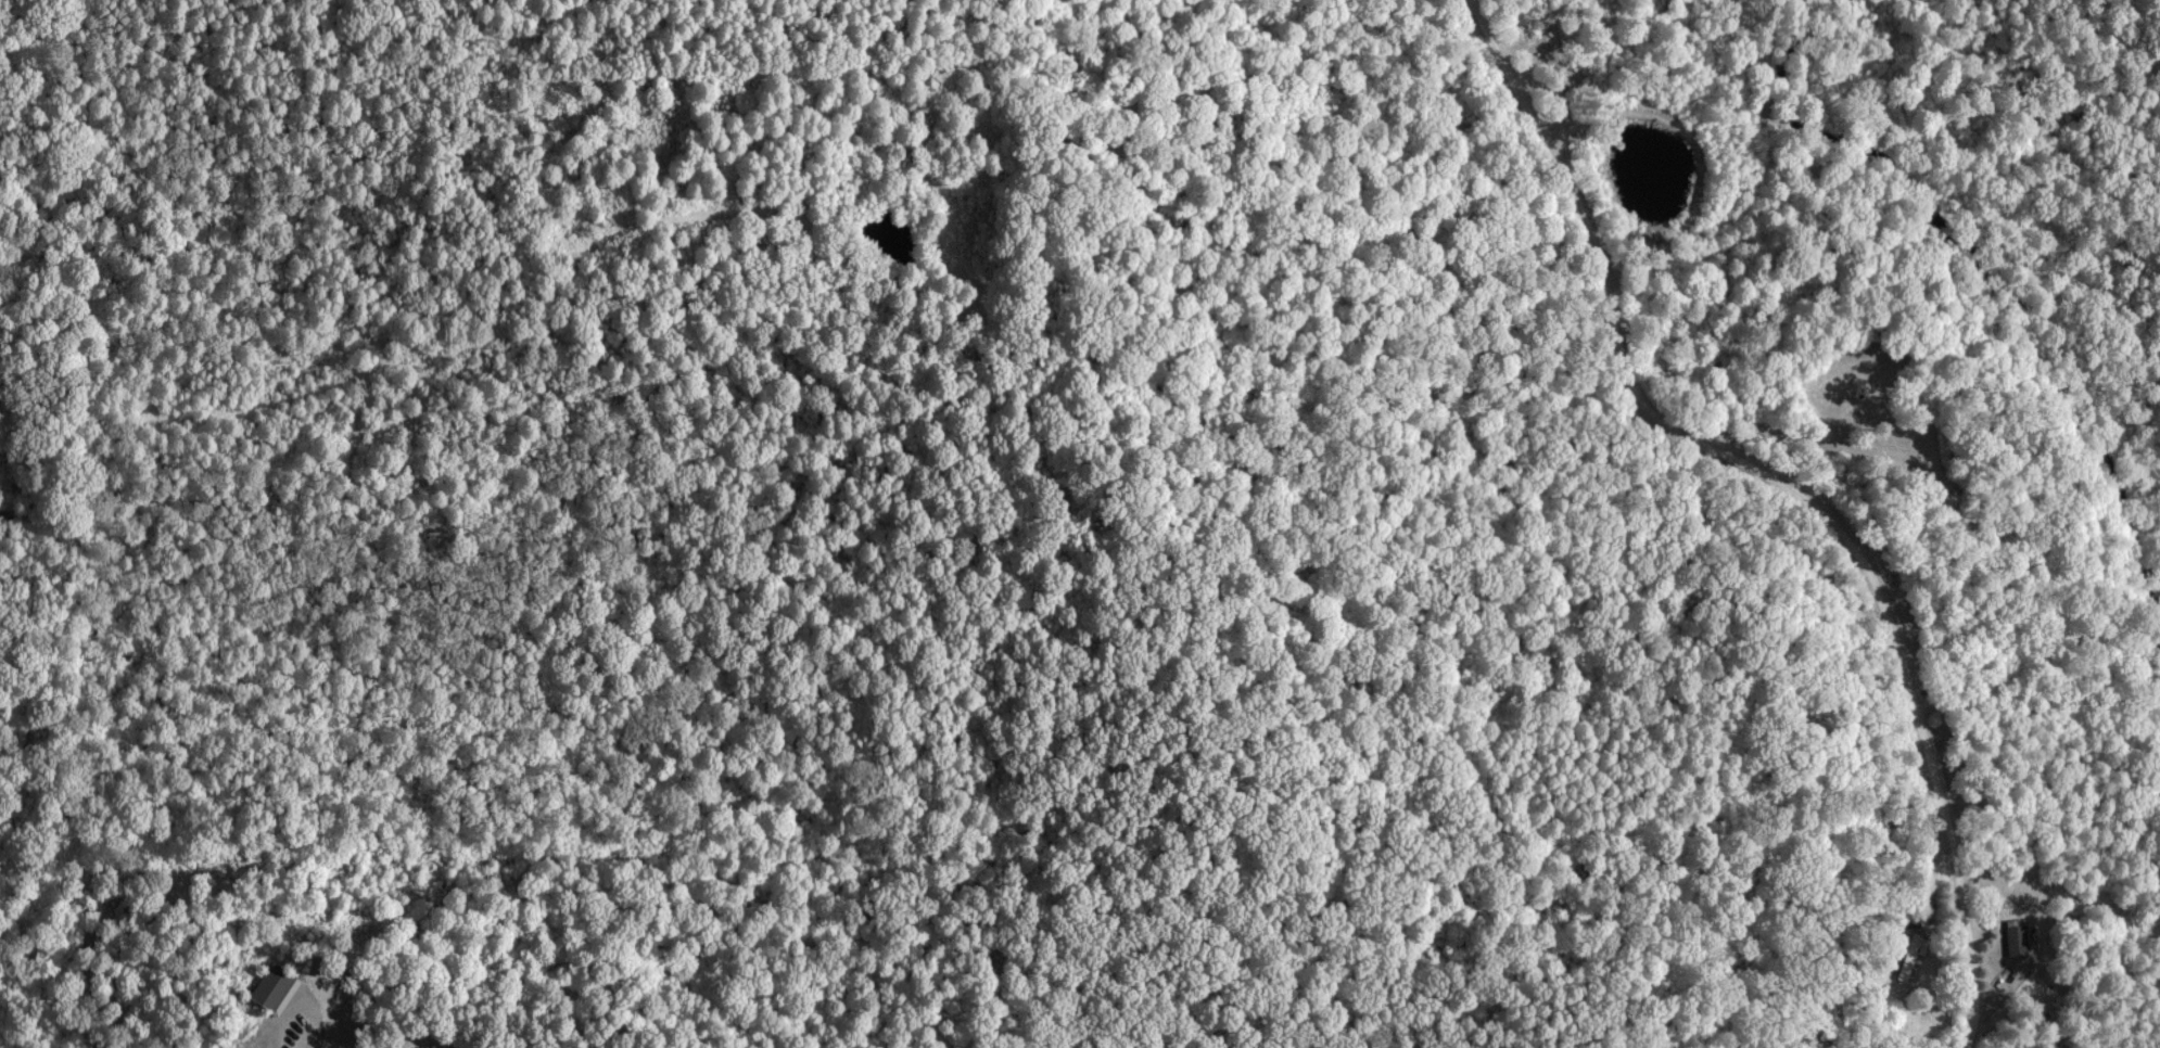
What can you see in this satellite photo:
road: (1782, 487)
building: (2012, 936)
building: (1910, 958)
building: (277, 986)
road: (302, 1018)

